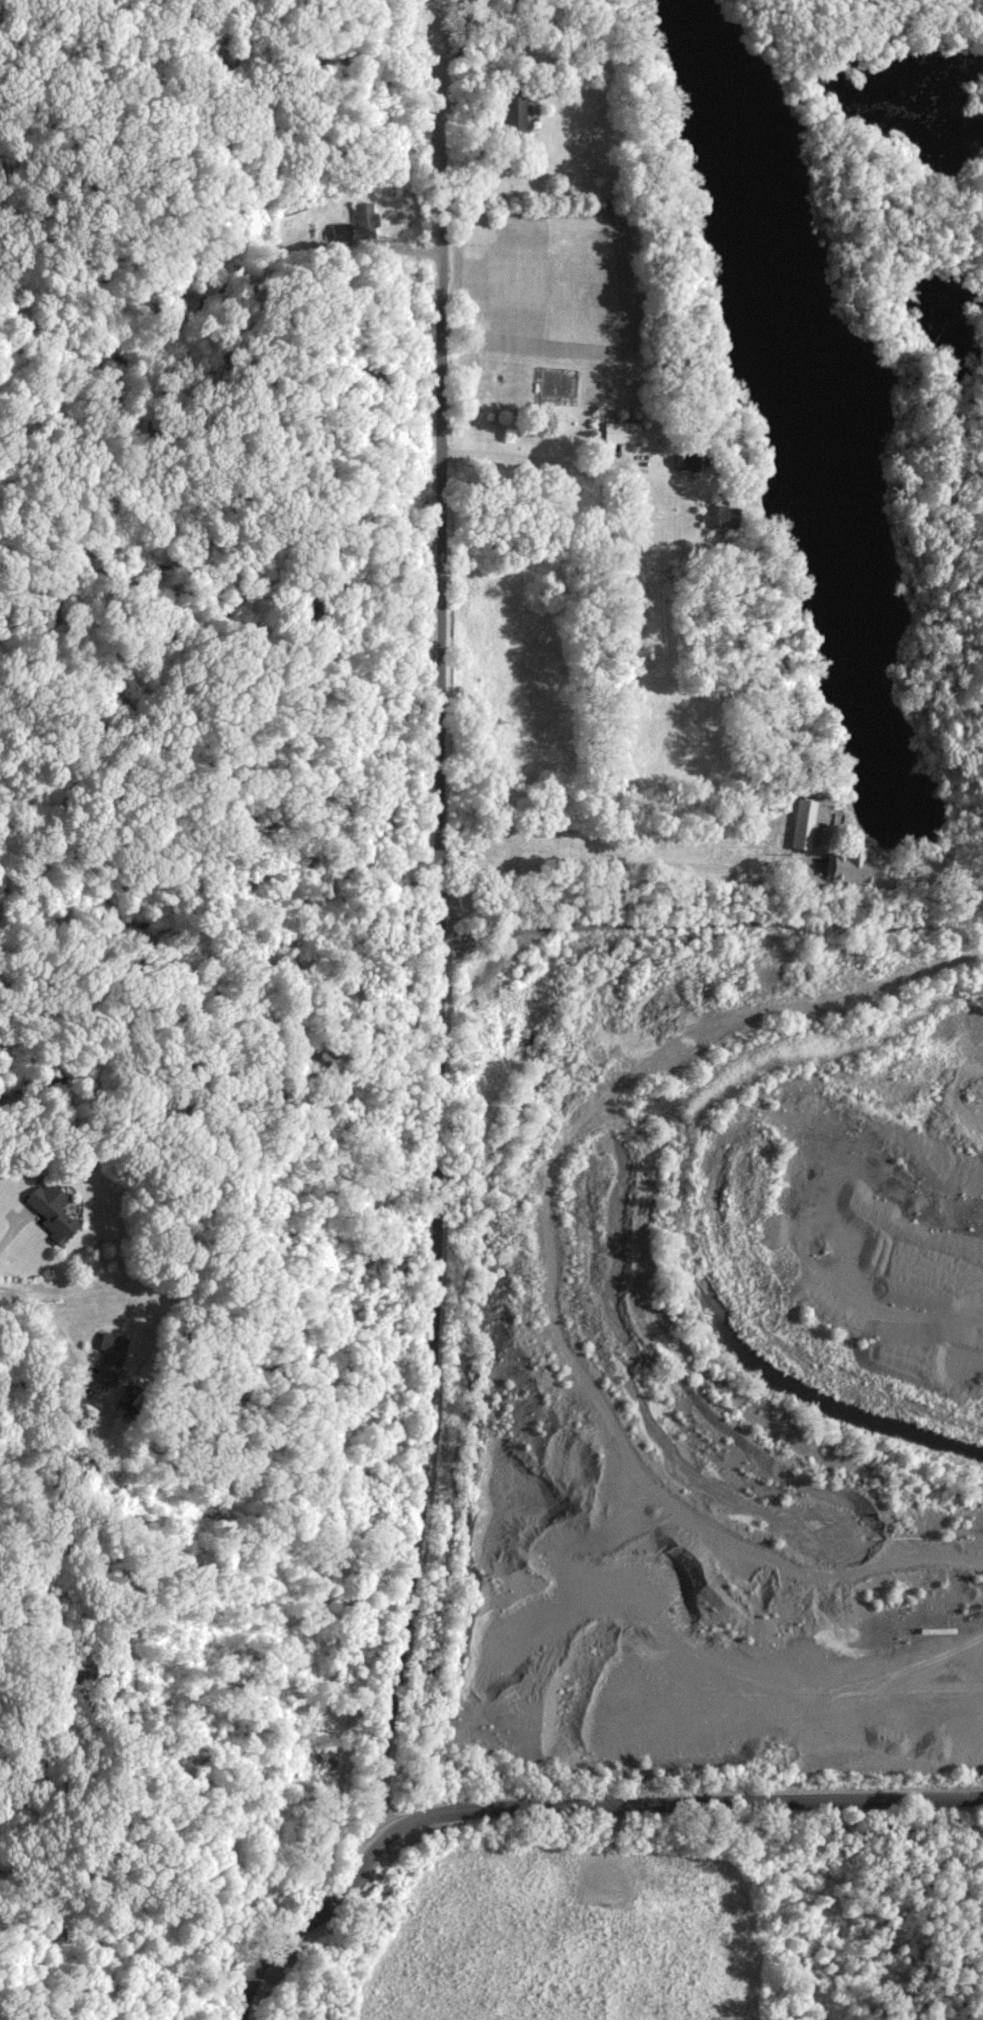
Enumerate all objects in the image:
building: (514, 113)
building: (355, 224)
building: (619, 431)
road: (532, 460)
building: (716, 515)
building: (800, 823)
road: (626, 863)
building: (849, 866)
road: (439, 1033)
building: (50, 1210)
road: (15, 1221)
road: (48, 1320)
building: (107, 1358)
road: (676, 1799)

